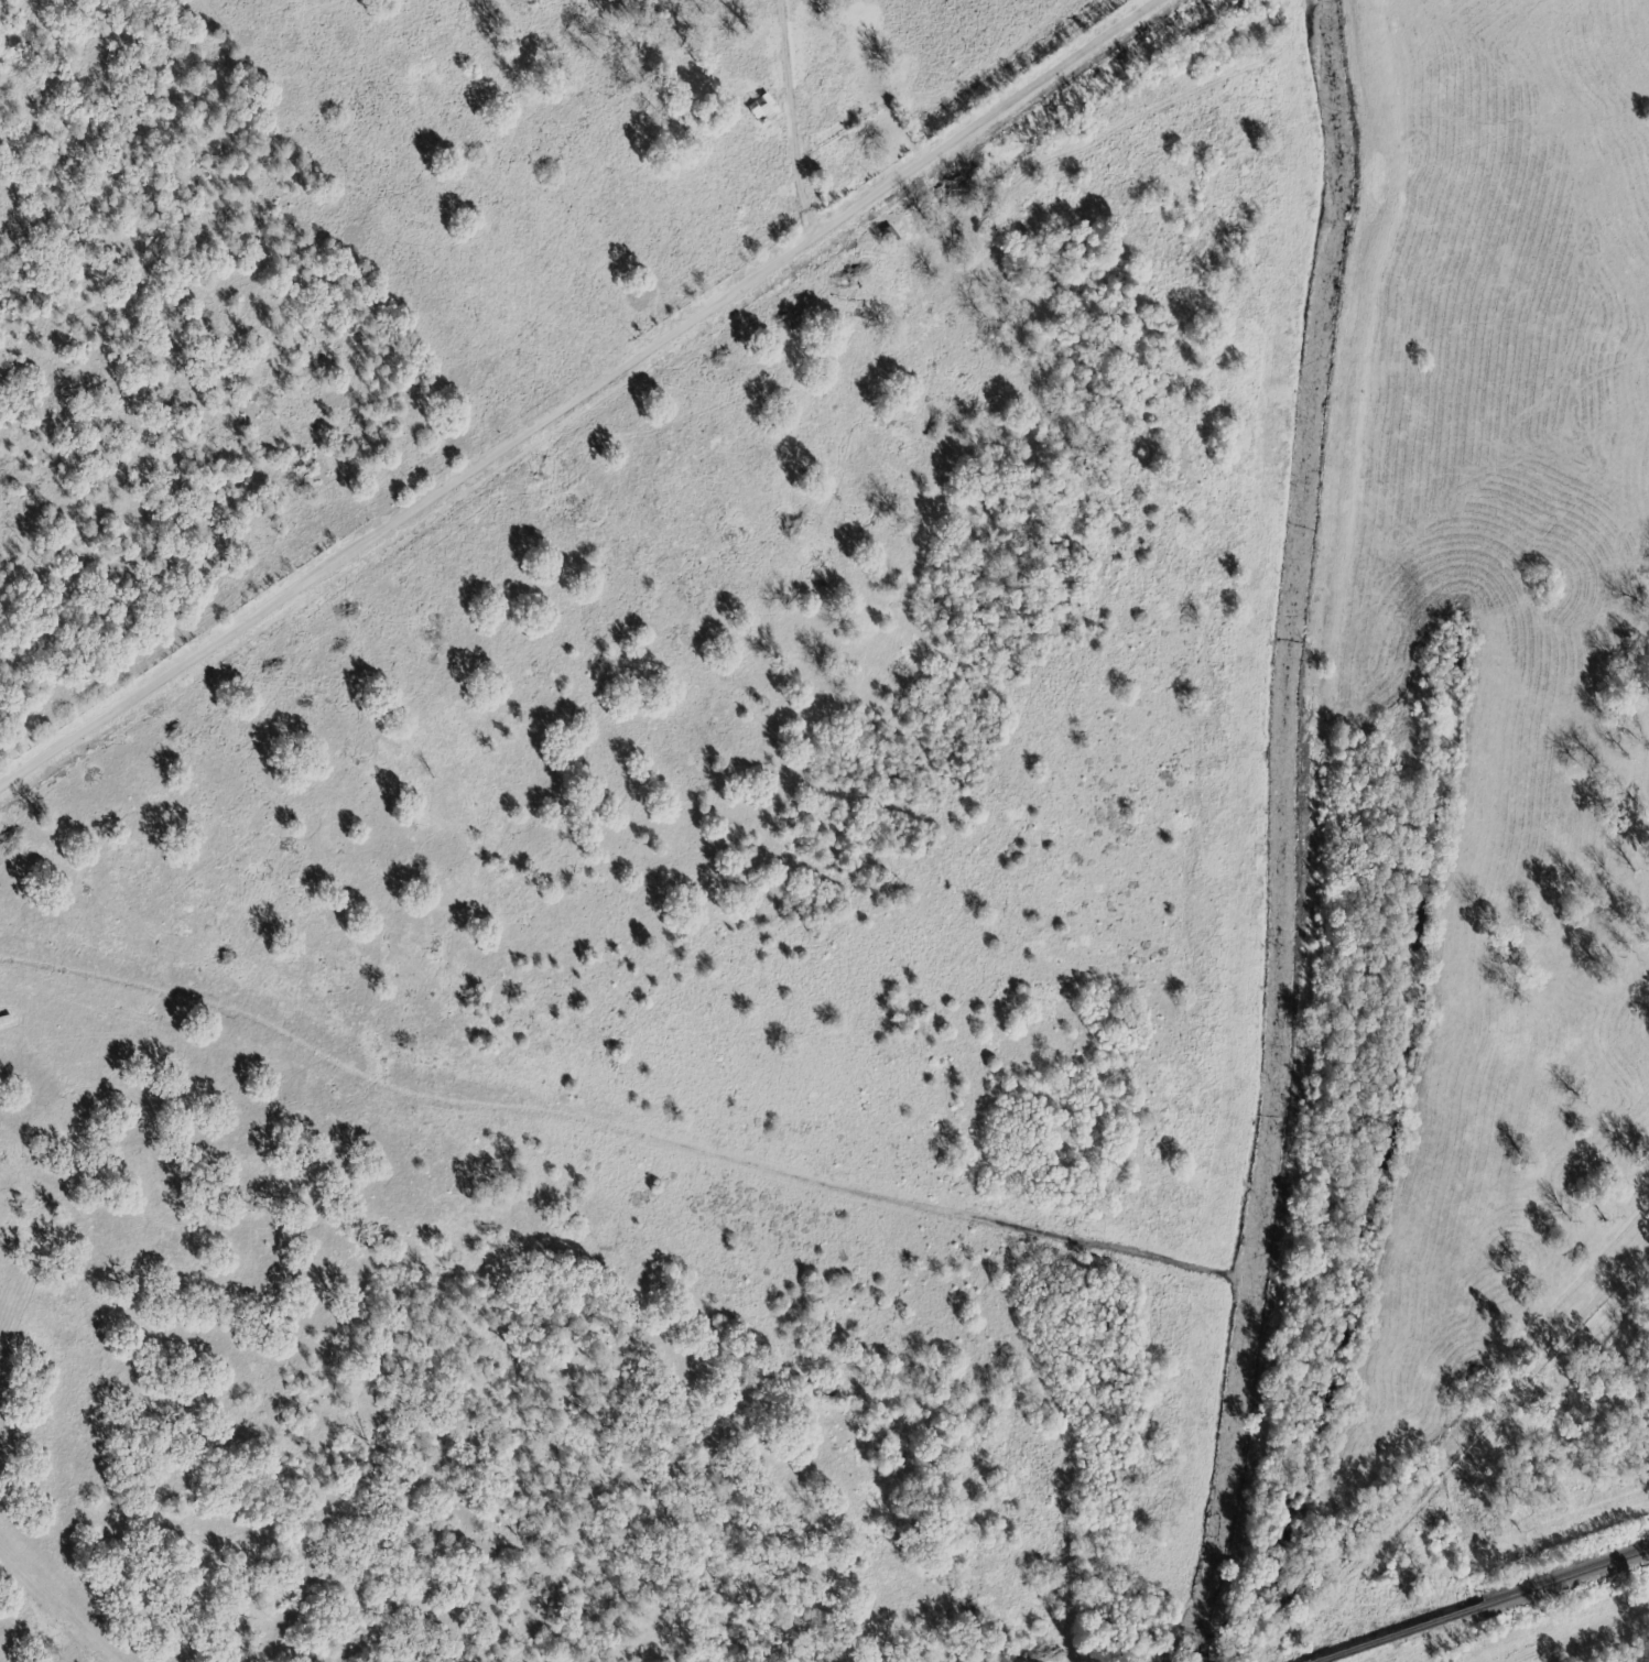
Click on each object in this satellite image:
road: (796, 119)
road: (588, 400)
road: (1417, 1446)
railway: (1566, 1577)
road: (58, 1605)
railway: (1401, 1633)

